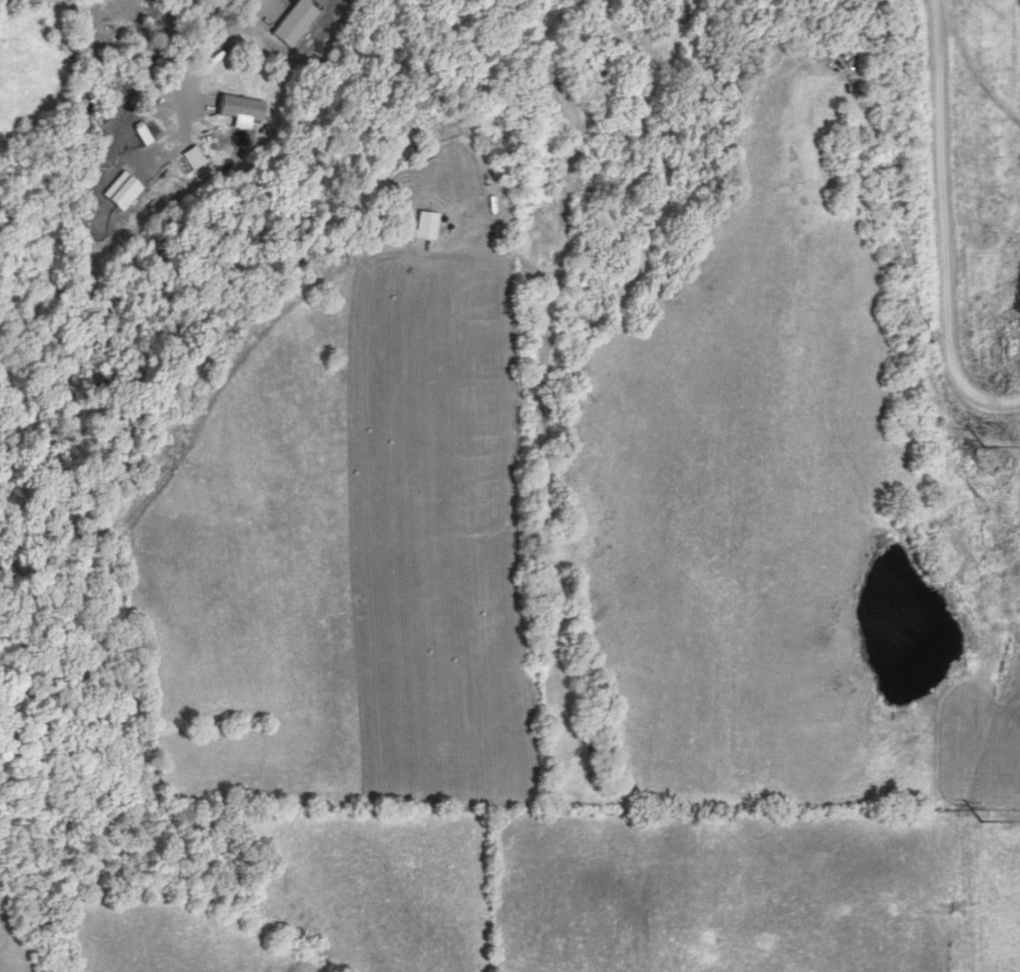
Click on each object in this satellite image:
road: (222, 37)
road: (571, 101)
building: (233, 106)
building: (139, 134)
building: (406, 149)
building: (184, 159)
building: (423, 222)
road: (945, 227)
power tower: (993, 445)
power tower: (990, 829)

